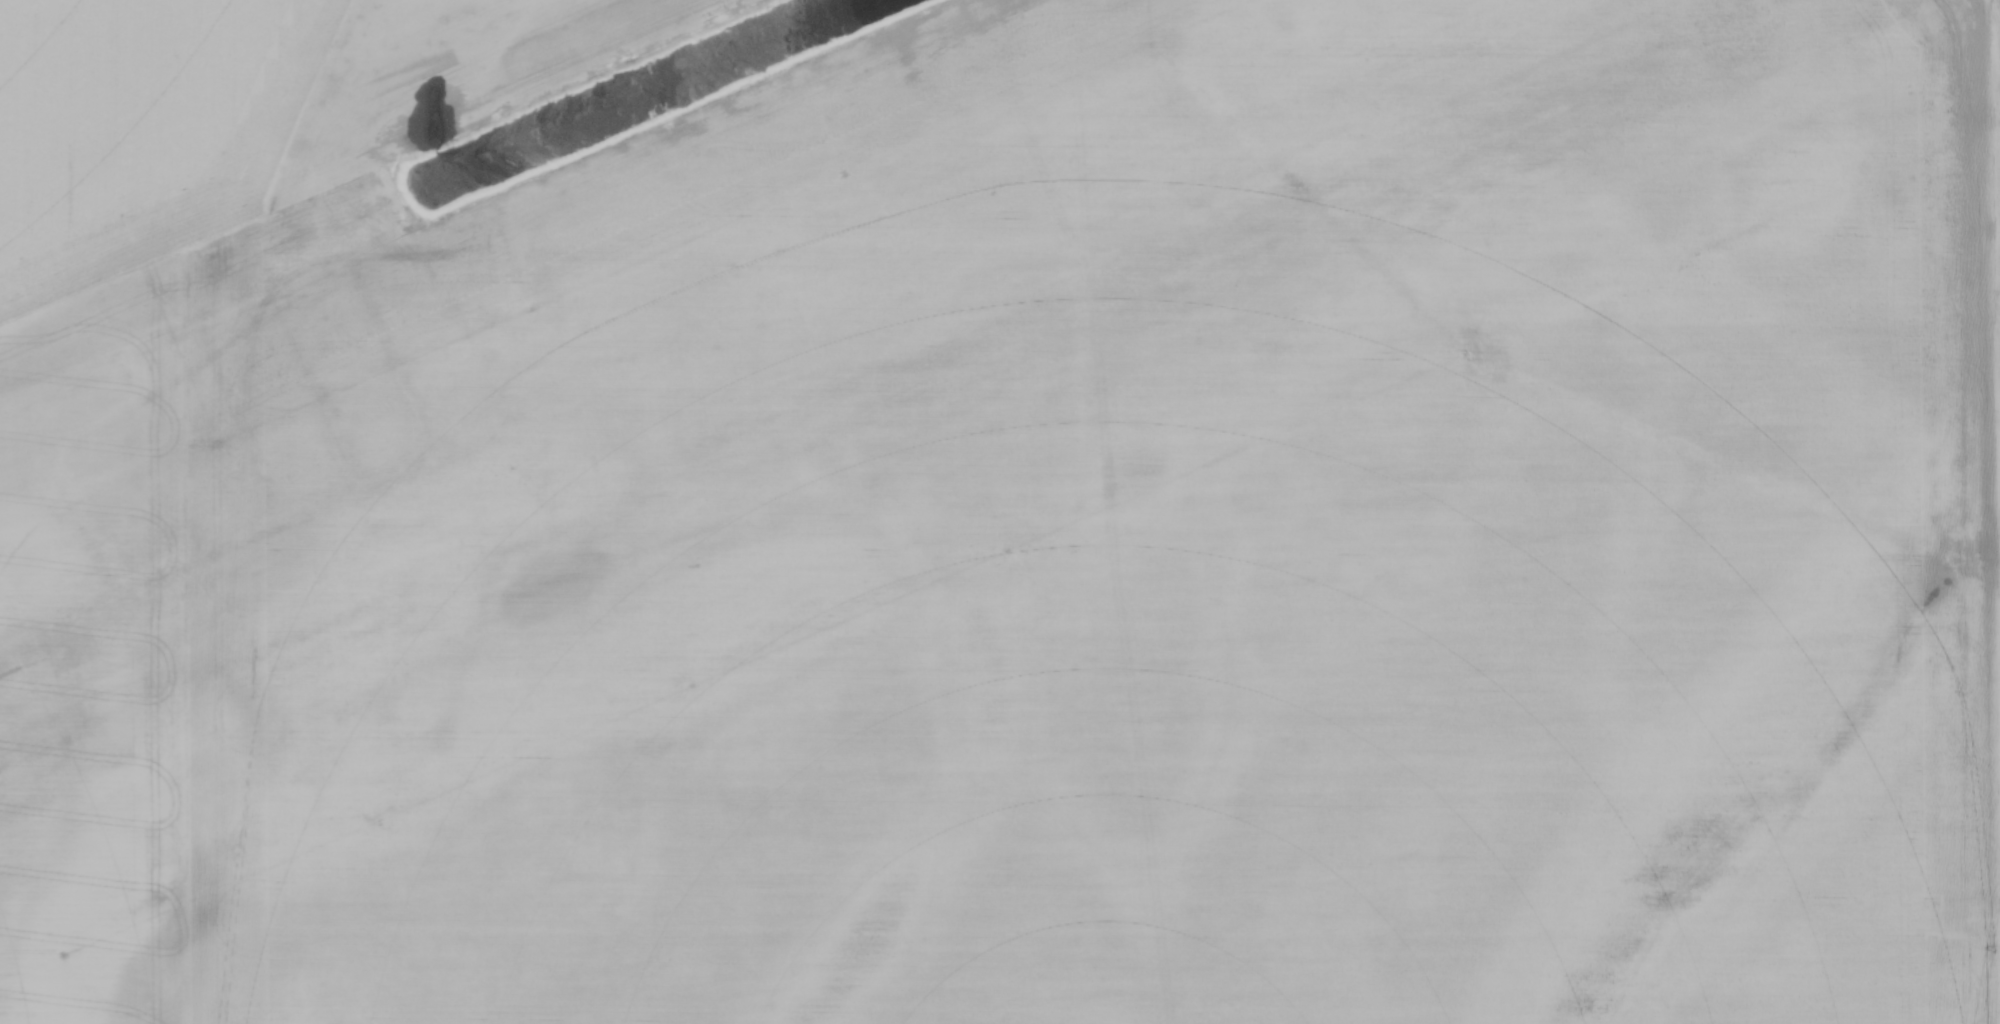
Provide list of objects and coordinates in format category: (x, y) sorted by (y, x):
building: (485, 238)

